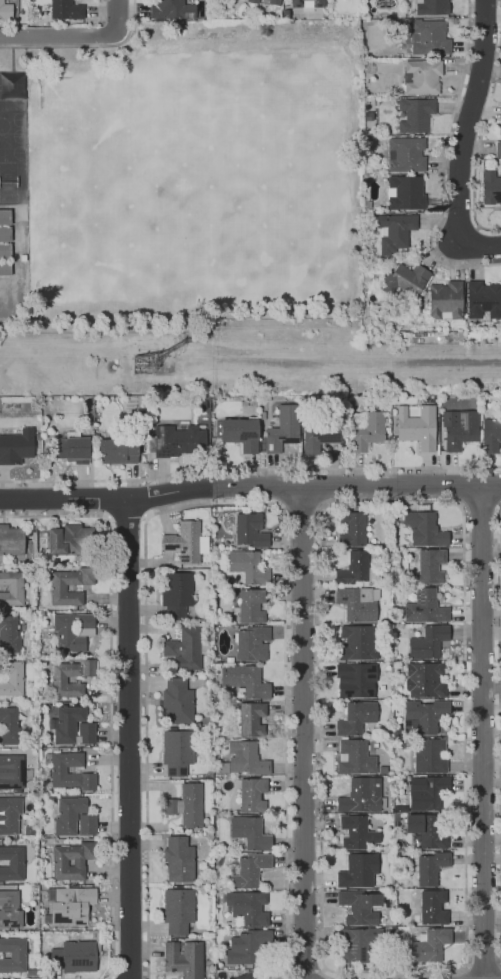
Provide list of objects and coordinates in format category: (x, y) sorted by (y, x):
building: (252, 1)
building: (273, 2)
building: (307, 3)
building: (431, 7)
building: (171, 9)
building: (6, 10)
building: (66, 12)
road: (116, 16)
road: (99, 18)
road: (500, 20)
road: (56, 36)
building: (428, 37)
road: (83, 45)
building: (421, 76)
building: (415, 114)
road: (463, 138)
road: (479, 144)
building: (497, 145)
building: (405, 154)
road: (444, 161)
building: (490, 188)
building: (404, 192)
building: (396, 230)
building: (4, 241)
building: (405, 280)
building: (482, 299)
building: (445, 300)
power tower: (145, 366)
building: (337, 401)
building: (262, 415)
building: (416, 427)
building: (283, 428)
building: (459, 428)
building: (367, 430)
building: (238, 433)
building: (320, 434)
building: (490, 435)
building: (178, 440)
building: (16, 446)
building: (71, 450)
building: (118, 451)
road: (250, 469)
road: (461, 486)
road: (249, 487)
road: (319, 487)
road: (283, 488)
road: (218, 504)
road: (480, 506)
road: (301, 507)
building: (351, 529)
building: (424, 529)
building: (250, 530)
building: (11, 540)
building: (70, 540)
building: (183, 542)
building: (430, 565)
building: (248, 566)
building: (356, 569)
building: (11, 587)
building: (57, 588)
building: (175, 594)
building: (358, 602)
building: (249, 605)
building: (425, 607)
building: (70, 630)
building: (8, 634)
building: (428, 642)
building: (252, 643)
building: (357, 643)
building: (183, 648)
building: (229, 659)
building: (10, 677)
building: (58, 679)
building: (355, 679)
building: (245, 680)
building: (425, 680)
building: (176, 700)
building: (423, 716)
building: (356, 717)
building: (251, 719)
building: (67, 723)
building: (8, 725)
road: (499, 732)
building: (86, 733)
road: (301, 733)
road: (480, 733)
road: (127, 740)
building: (176, 751)
building: (429, 756)
building: (355, 757)
building: (246, 758)
building: (57, 770)
building: (11, 771)
building: (427, 792)
building: (252, 795)
building: (361, 795)
building: (186, 805)
building: (400, 809)
building: (9, 814)
building: (68, 814)
building: (85, 824)
building: (427, 829)
building: (356, 832)
building: (249, 833)
building: (177, 858)
building: (71, 860)
building: (218, 860)
building: (11, 863)
building: (431, 867)
building: (247, 870)
building: (358, 870)
building: (222, 887)
building: (70, 906)
building: (248, 907)
building: (360, 907)
building: (433, 907)
building: (9, 909)
building: (177, 909)
building: (354, 945)
building: (429, 945)
building: (250, 947)
building: (12, 954)
building: (72, 956)
building: (183, 958)
road: (324, 966)
road: (482, 966)
road: (464, 972)
building: (245, 976)

